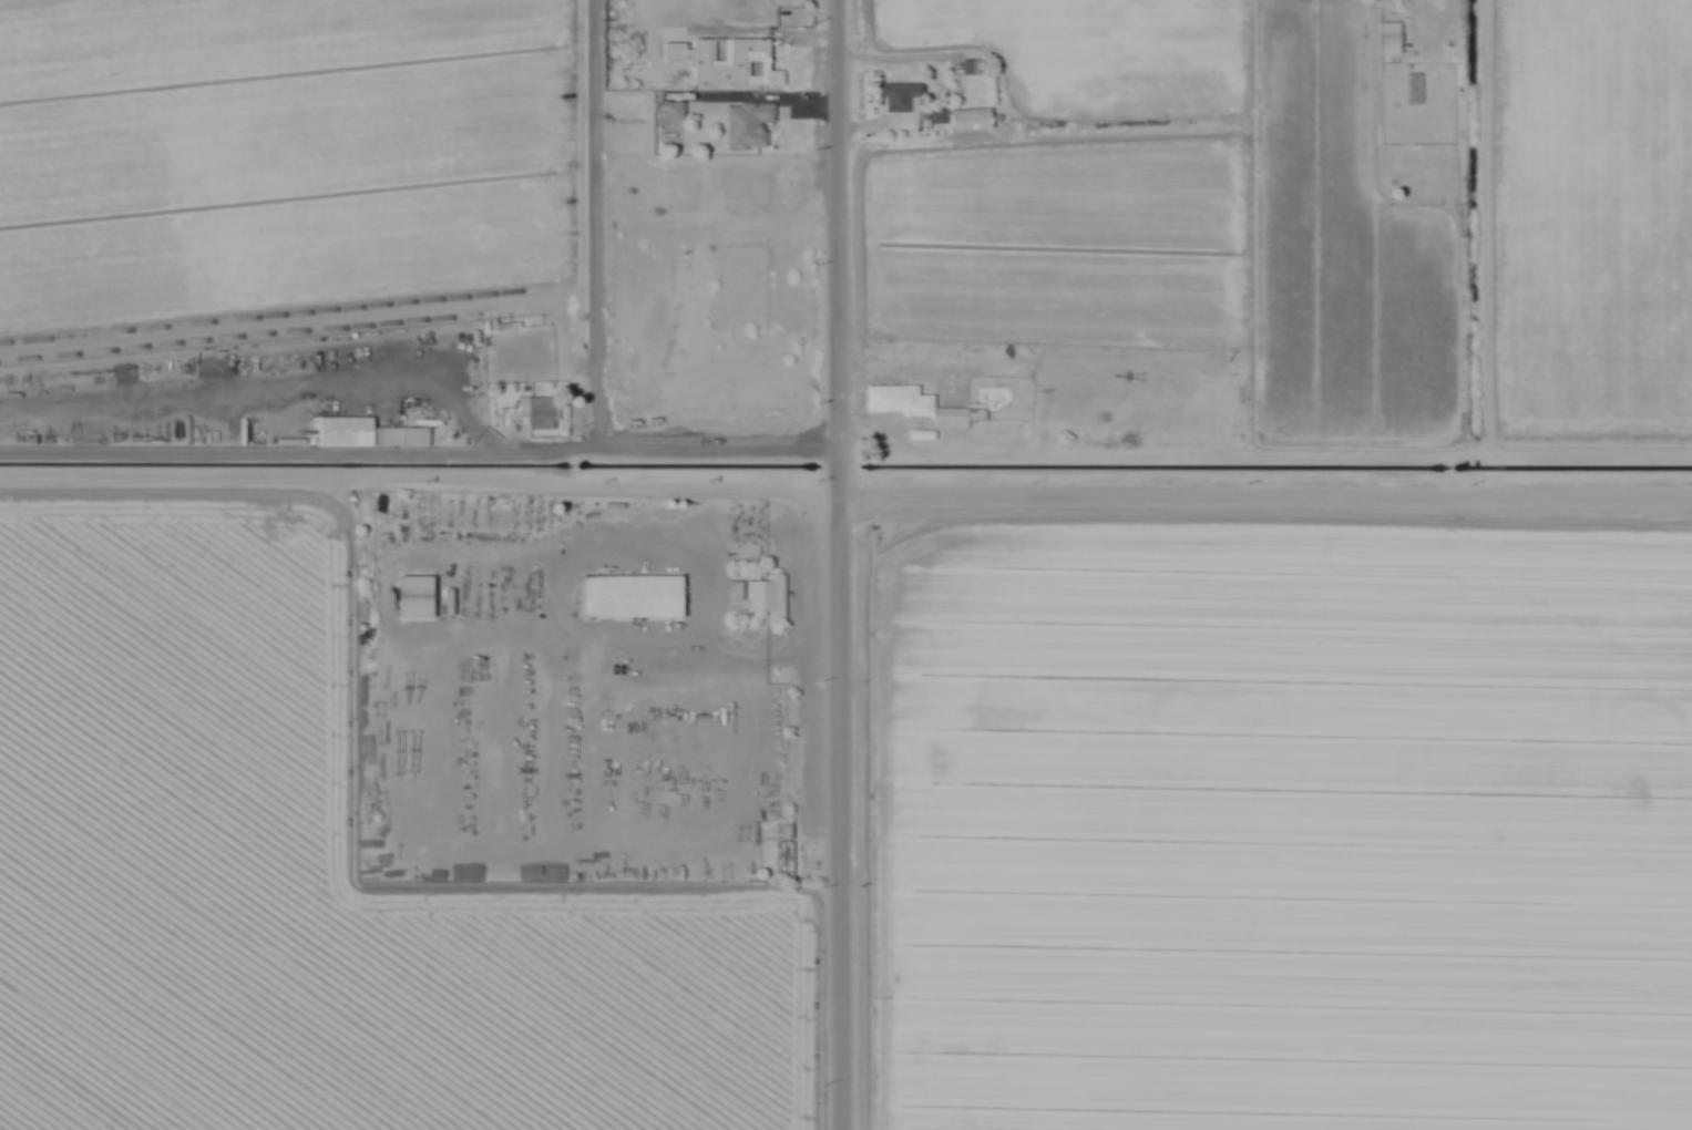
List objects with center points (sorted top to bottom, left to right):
crop: (1085, 50)
building: (729, 62)
building: (1417, 89)
building: (902, 102)
building: (676, 111)
building: (973, 117)
building: (750, 124)
crop: (281, 154)
crop: (1593, 218)
crop: (1062, 243)
crop: (1345, 248)
building: (898, 400)
building: (530, 413)
building: (358, 432)
road: (1270, 483)
road: (848, 564)
building: (416, 596)
building: (633, 596)
building: (768, 596)
building: (449, 603)
crop: (1280, 829)
building: (785, 853)
crop: (316, 879)

